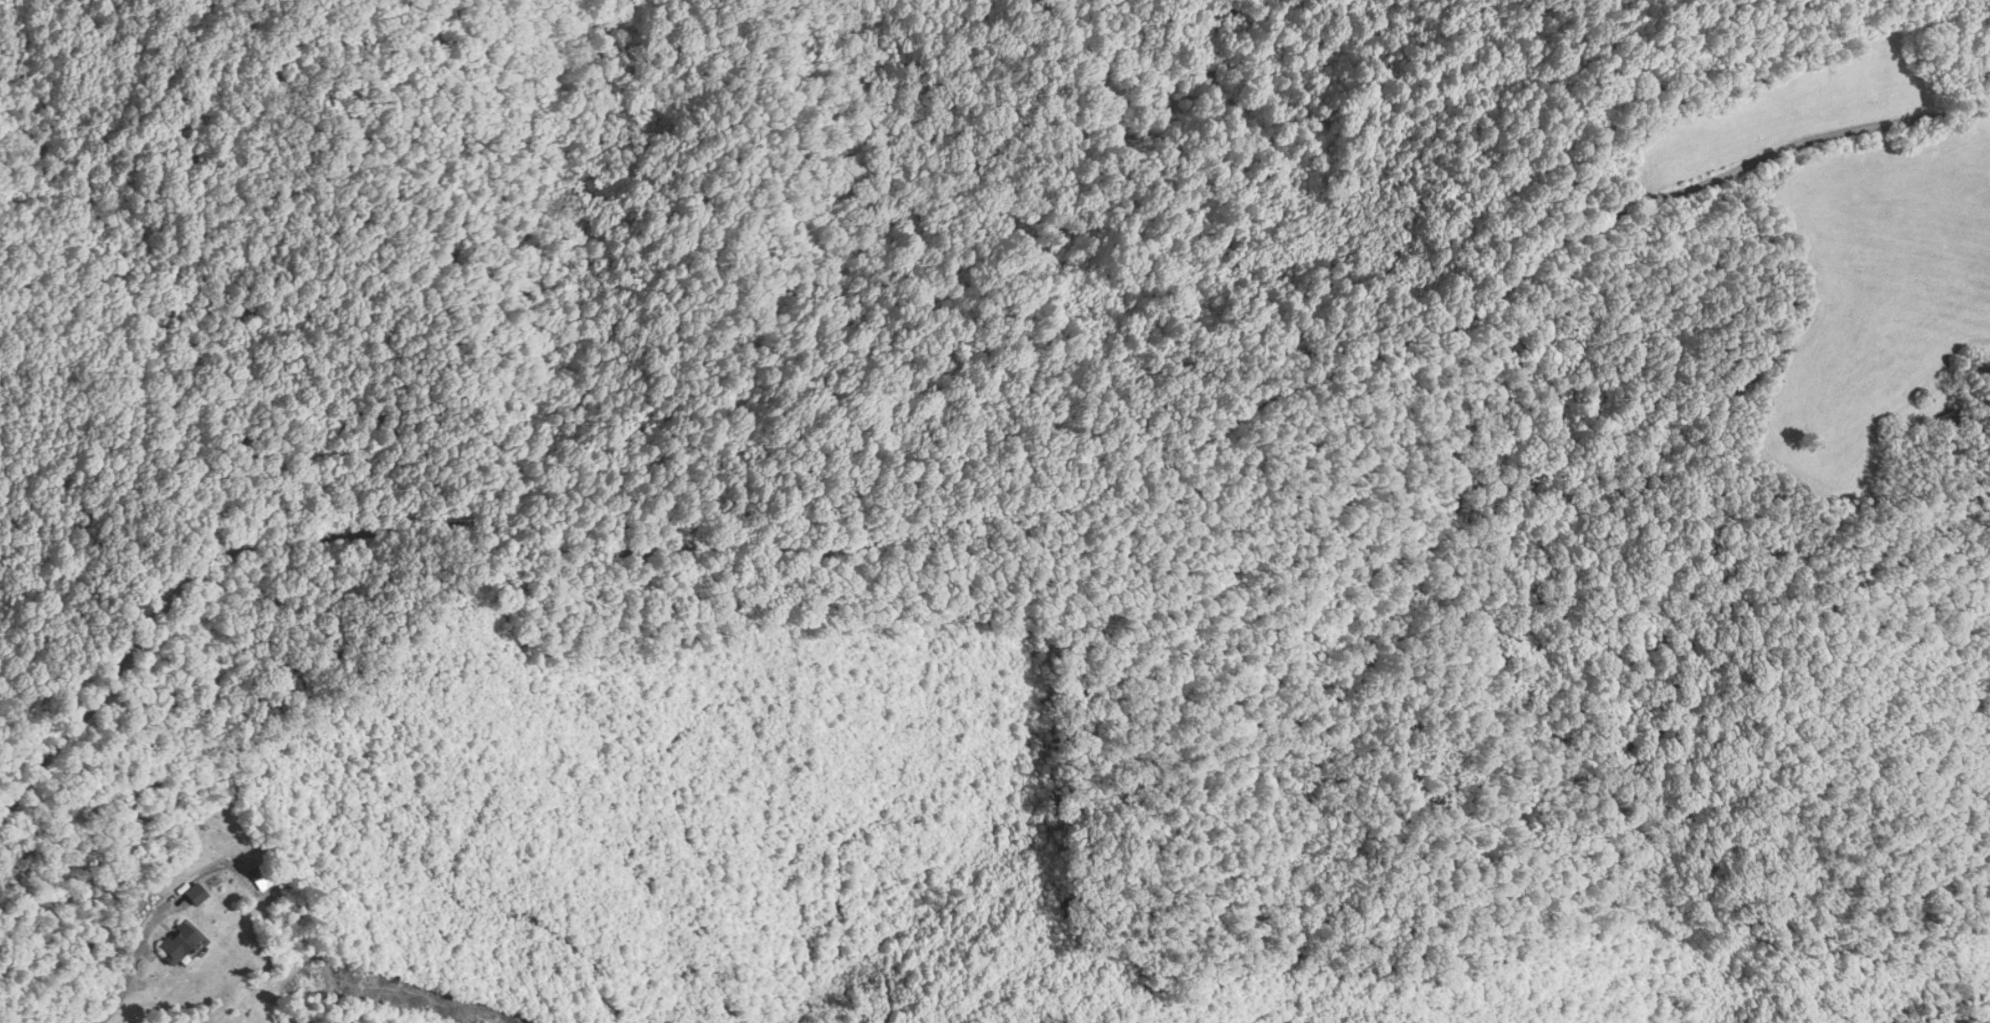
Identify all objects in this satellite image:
building: (1943, 421)
road: (972, 518)
building: (200, 894)
building: (183, 943)
road: (133, 965)

